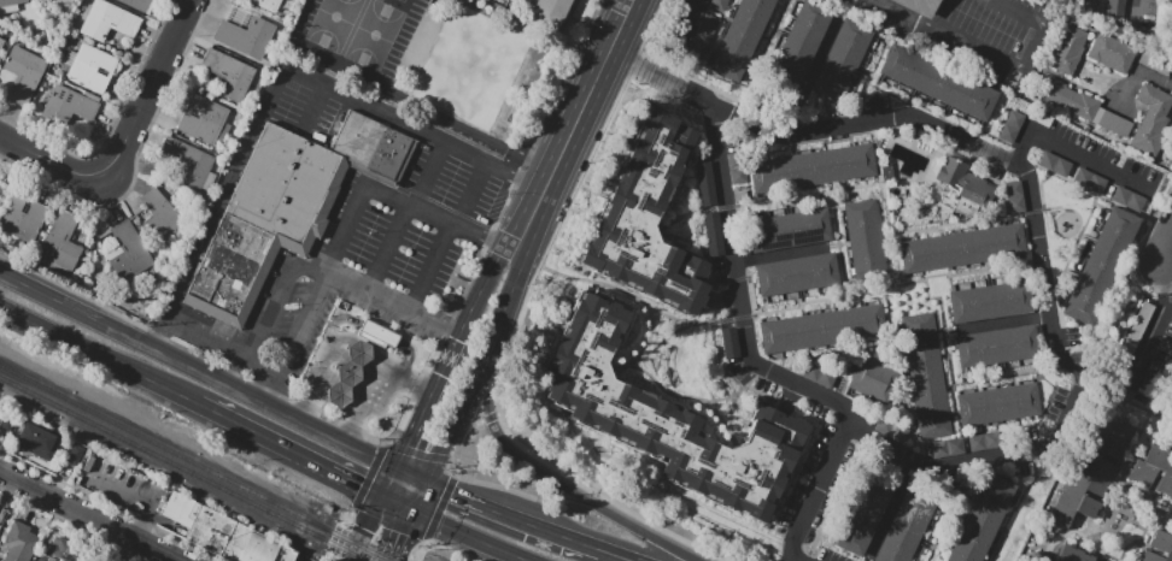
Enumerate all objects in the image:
road: (631, 0)
building: (1092, 0)
building: (10, 2)
building: (136, 4)
building: (265, 5)
building: (717, 5)
parking lot: (410, 6)
building: (919, 6)
building: (1114, 7)
road: (1136, 11)
building: (552, 13)
building: (814, 14)
building: (107, 20)
park: (323, 20)
building: (805, 33)
building: (854, 33)
parking lot: (971, 34)
building: (246, 35)
park: (375, 35)
road: (680, 37)
building: (702, 37)
building: (739, 37)
building: (1, 43)
building: (1067, 49)
building: (796, 51)
building: (845, 52)
building: (1111, 53)
road: (995, 57)
road: (760, 59)
road: (1079, 61)
building: (92, 69)
building: (787, 70)
building: (837, 70)
road: (277, 71)
road: (1108, 71)
building: (228, 73)
building: (23, 75)
road: (1138, 75)
road: (809, 77)
road: (867, 81)
building: (938, 83)
road: (151, 88)
building: (827, 88)
road: (1082, 89)
building: (1065, 96)
building: (69, 106)
building: (1150, 118)
building: (1043, 119)
building: (204, 120)
building: (1012, 124)
building: (1114, 124)
road: (574, 126)
road: (604, 132)
road: (1167, 138)
road: (1072, 150)
road: (49, 159)
building: (189, 164)
road: (1013, 164)
building: (1055, 165)
building: (736, 167)
building: (813, 169)
building: (885, 172)
building: (1089, 181)
road: (997, 183)
building: (961, 185)
road: (1090, 190)
road: (808, 194)
building: (1014, 196)
road: (1041, 196)
building: (1127, 199)
road: (394, 200)
road: (1164, 202)
road: (725, 207)
building: (286, 208)
road: (698, 211)
building: (859, 211)
road: (1031, 211)
road: (405, 214)
building: (160, 215)
building: (23, 217)
building: (646, 219)
road: (695, 225)
building: (819, 225)
building: (799, 228)
building: (779, 231)
building: (862, 231)
road: (898, 231)
road: (446, 234)
building: (760, 235)
building: (61, 242)
road: (837, 243)
road: (1073, 246)
road: (1166, 247)
building: (962, 248)
road: (701, 249)
building: (865, 250)
building: (128, 253)
road: (779, 254)
parking lot: (365, 262)
building: (1100, 265)
road: (1135, 265)
building: (826, 270)
road: (983, 270)
road: (306, 271)
building: (868, 271)
building: (807, 273)
building: (787, 276)
road: (738, 278)
building: (767, 279)
road: (918, 280)
road: (480, 290)
road: (750, 295)
building: (1021, 296)
road: (826, 299)
road: (637, 300)
building: (1001, 300)
road: (394, 301)
building: (980, 303)
building: (960, 306)
road: (743, 317)
road: (1007, 321)
road: (1155, 327)
building: (822, 329)
road: (1164, 332)
building: (379, 333)
road: (380, 333)
building: (370, 339)
road: (662, 339)
road: (745, 341)
building: (1026, 341)
building: (1007, 344)
road: (644, 346)
building: (1127, 346)
building: (986, 347)
road: (219, 350)
road: (369, 350)
building: (967, 350)
road: (99, 360)
road: (855, 360)
road: (351, 364)
road: (477, 367)
road: (666, 367)
road: (199, 371)
building: (925, 371)
road: (897, 372)
building: (350, 373)
gas station: (350, 373)
road: (312, 376)
building: (819, 376)
building: (869, 378)
road: (989, 378)
road: (341, 383)
road: (416, 384)
building: (1168, 388)
road: (737, 394)
road: (691, 397)
road: (367, 398)
road: (334, 400)
road: (427, 403)
building: (997, 404)
road: (713, 411)
building: (664, 418)
road: (490, 419)
road: (1160, 419)
building: (7, 423)
road: (955, 423)
road: (1153, 430)
road: (729, 431)
building: (37, 441)
building: (984, 441)
traffic signals: (408, 447)
building: (948, 448)
building: (75, 454)
road: (291, 455)
road: (534, 456)
road: (1126, 459)
railway: (195, 463)
railway: (183, 470)
building: (1154, 470)
building: (881, 473)
road: (412, 474)
building: (1089, 474)
road: (546, 476)
road: (458, 478)
road: (392, 484)
traffic signals: (358, 490)
traffic signals: (452, 491)
road: (815, 492)
building: (872, 495)
road: (142, 496)
road: (418, 496)
road: (7, 497)
building: (916, 504)
road: (398, 506)
road: (1014, 506)
road: (891, 507)
road: (940, 512)
road: (514, 515)
road: (89, 516)
building: (861, 516)
building: (981, 520)
road: (1127, 521)
building: (908, 522)
road: (369, 530)
building: (221, 533)
road: (1141, 533)
traffic signals: (400, 535)
road: (399, 536)
road: (470, 536)
building: (851, 538)
road: (1095, 541)
building: (19, 542)
building: (899, 542)
road: (1059, 543)
building: (1159, 548)
road: (127, 549)
building: (64, 550)
building: (1072, 554)
road: (616, 555)
building: (889, 555)
road: (1097, 555)
building: (1038, 557)
building: (45, 560)

